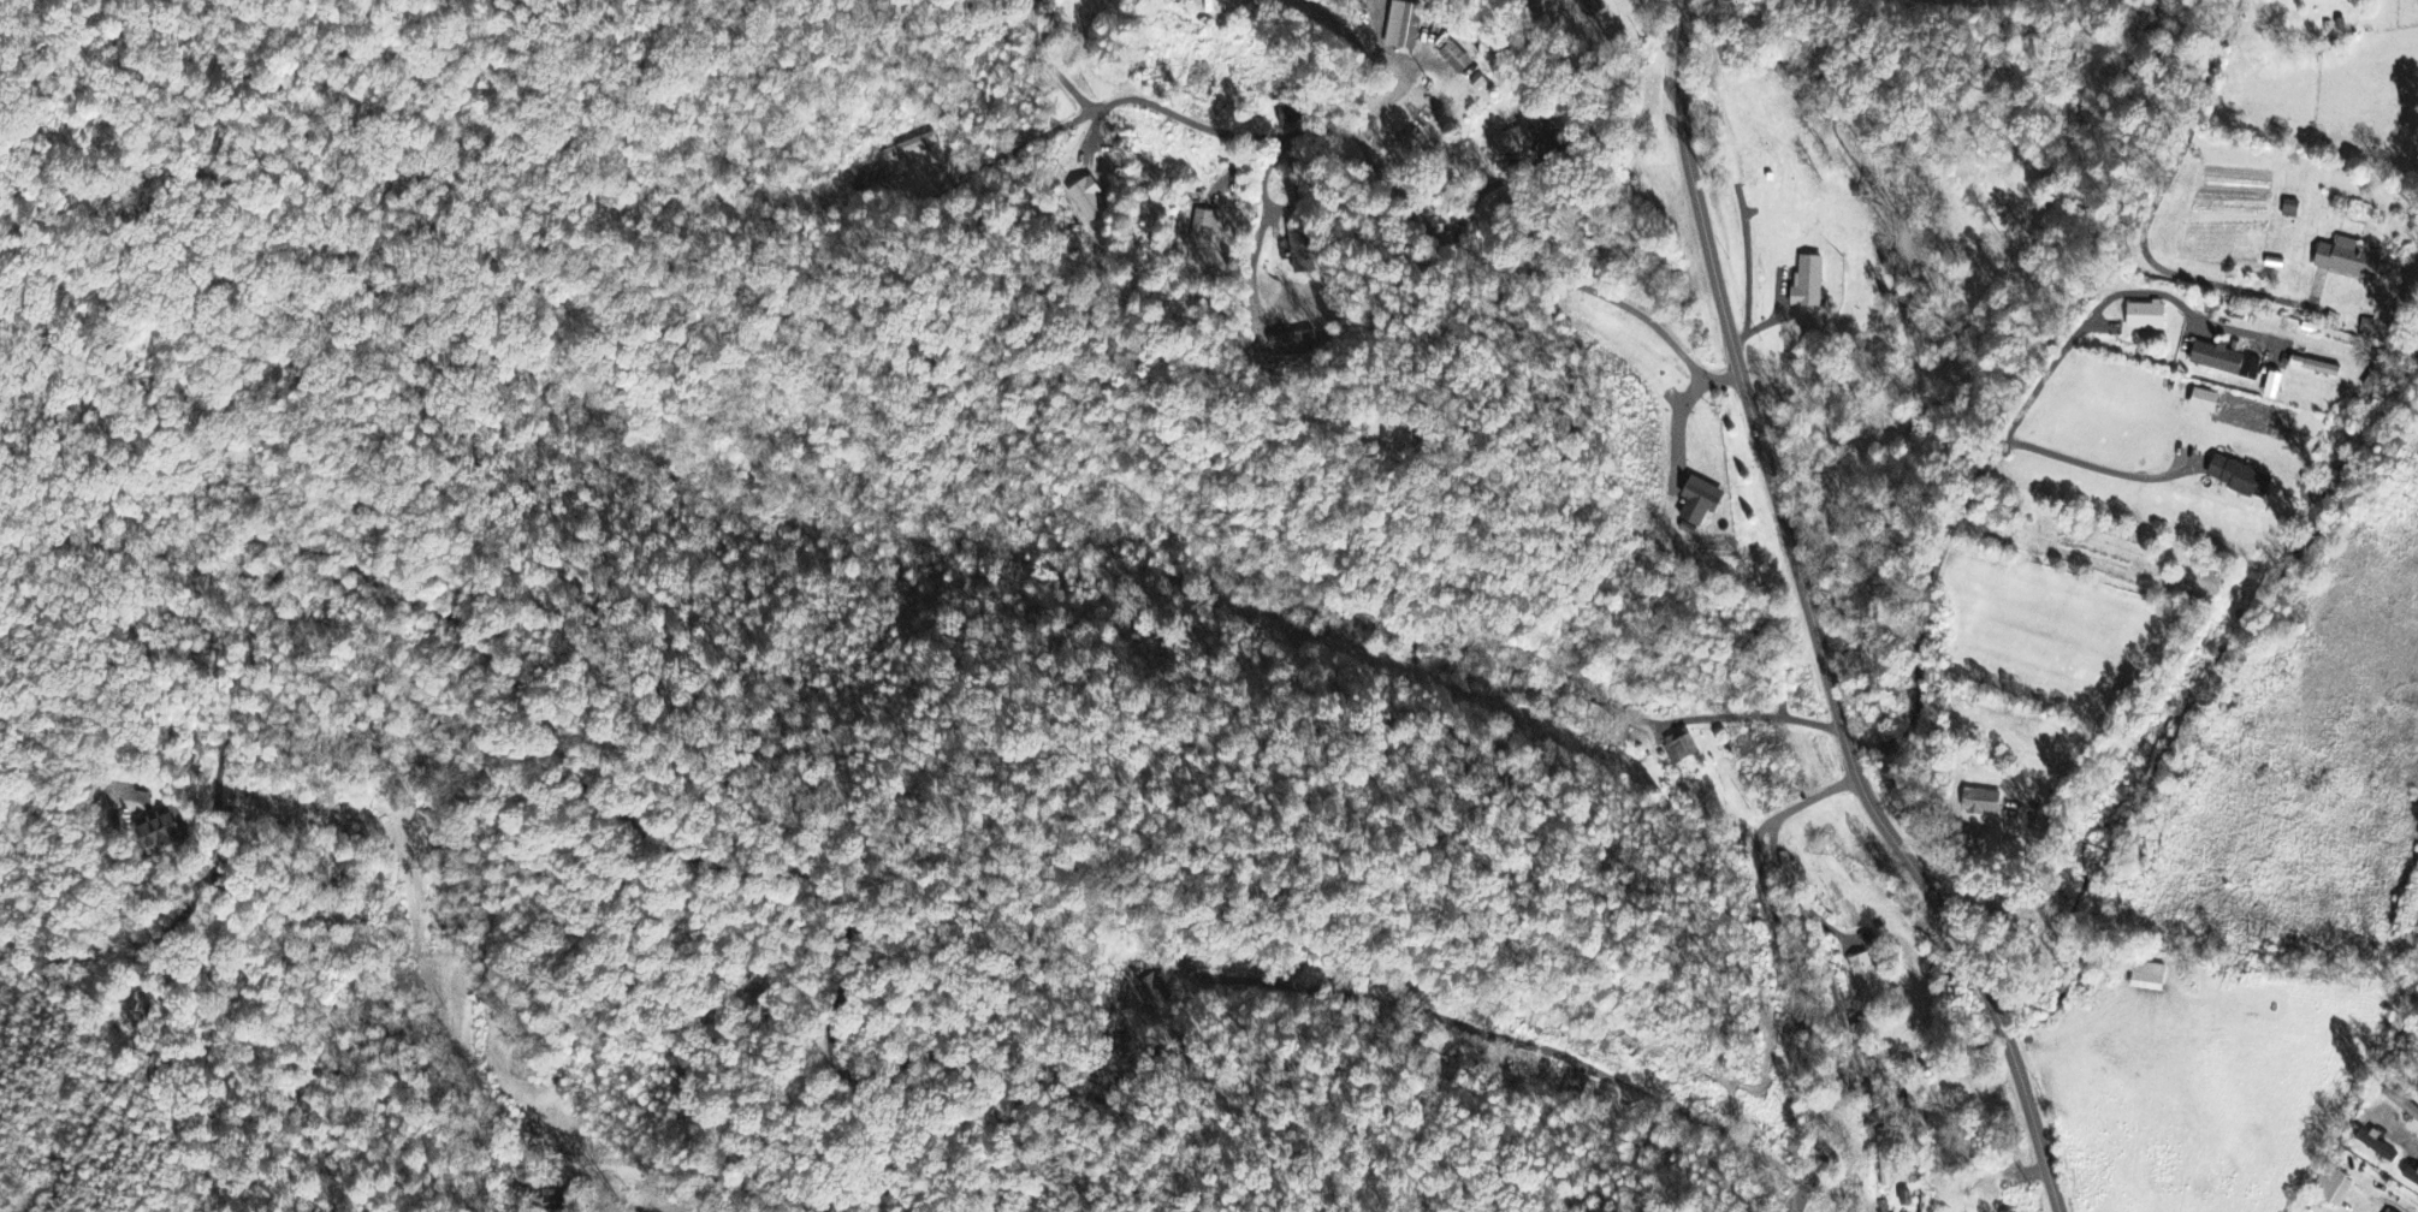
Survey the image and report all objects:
building: (1420, 0)
building: (1243, 5)
building: (1590, 8)
road: (1671, 11)
building: (1399, 25)
road: (1359, 53)
building: (1456, 59)
road: (1047, 61)
building: (1477, 83)
building: (1290, 114)
road: (1092, 130)
building: (1511, 145)
road: (985, 167)
building: (1089, 201)
building: (2292, 209)
road: (2149, 218)
road: (1417, 222)
building: (1203, 230)
building: (1302, 249)
building: (2351, 256)
road: (1746, 268)
building: (1809, 283)
building: (2147, 313)
building: (2369, 327)
building: (1291, 340)
building: (2220, 355)
building: (2317, 364)
building: (2275, 384)
building: (2205, 398)
road: (2003, 436)
road: (2096, 465)
building: (2242, 476)
building: (1701, 501)
road: (1812, 624)
road: (1746, 715)
building: (1679, 748)
road: (1919, 779)
building: (1983, 803)
building: (160, 833)
road: (1792, 969)
building: (1866, 979)
building: (2149, 979)
building: (1151, 993)
road: (1519, 1040)
road: (2399, 1135)
building: (2378, 1147)
building: (1886, 1158)
building: (2411, 1177)
building: (2334, 1189)
building: (2390, 1211)

